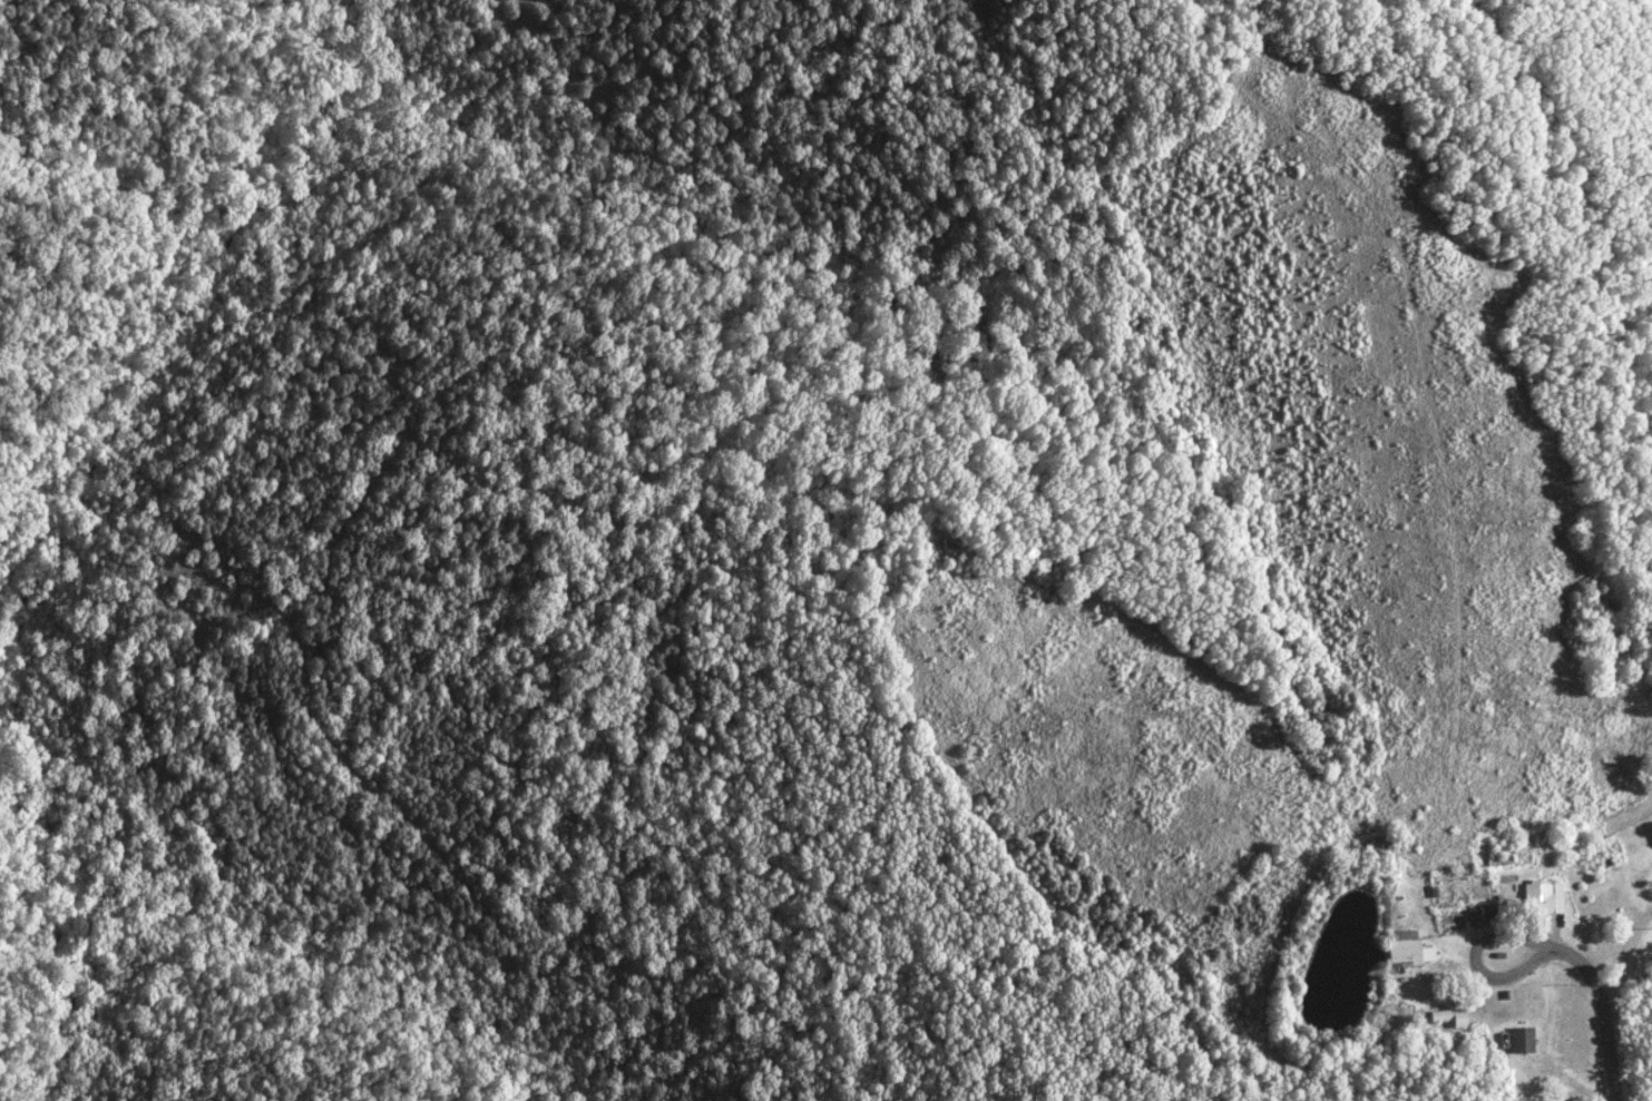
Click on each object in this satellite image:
building: (1538, 896)
road: (1508, 940)
building: (1402, 948)
road: (1623, 950)
road: (1602, 1012)
building: (1446, 1015)
building: (1518, 1039)

